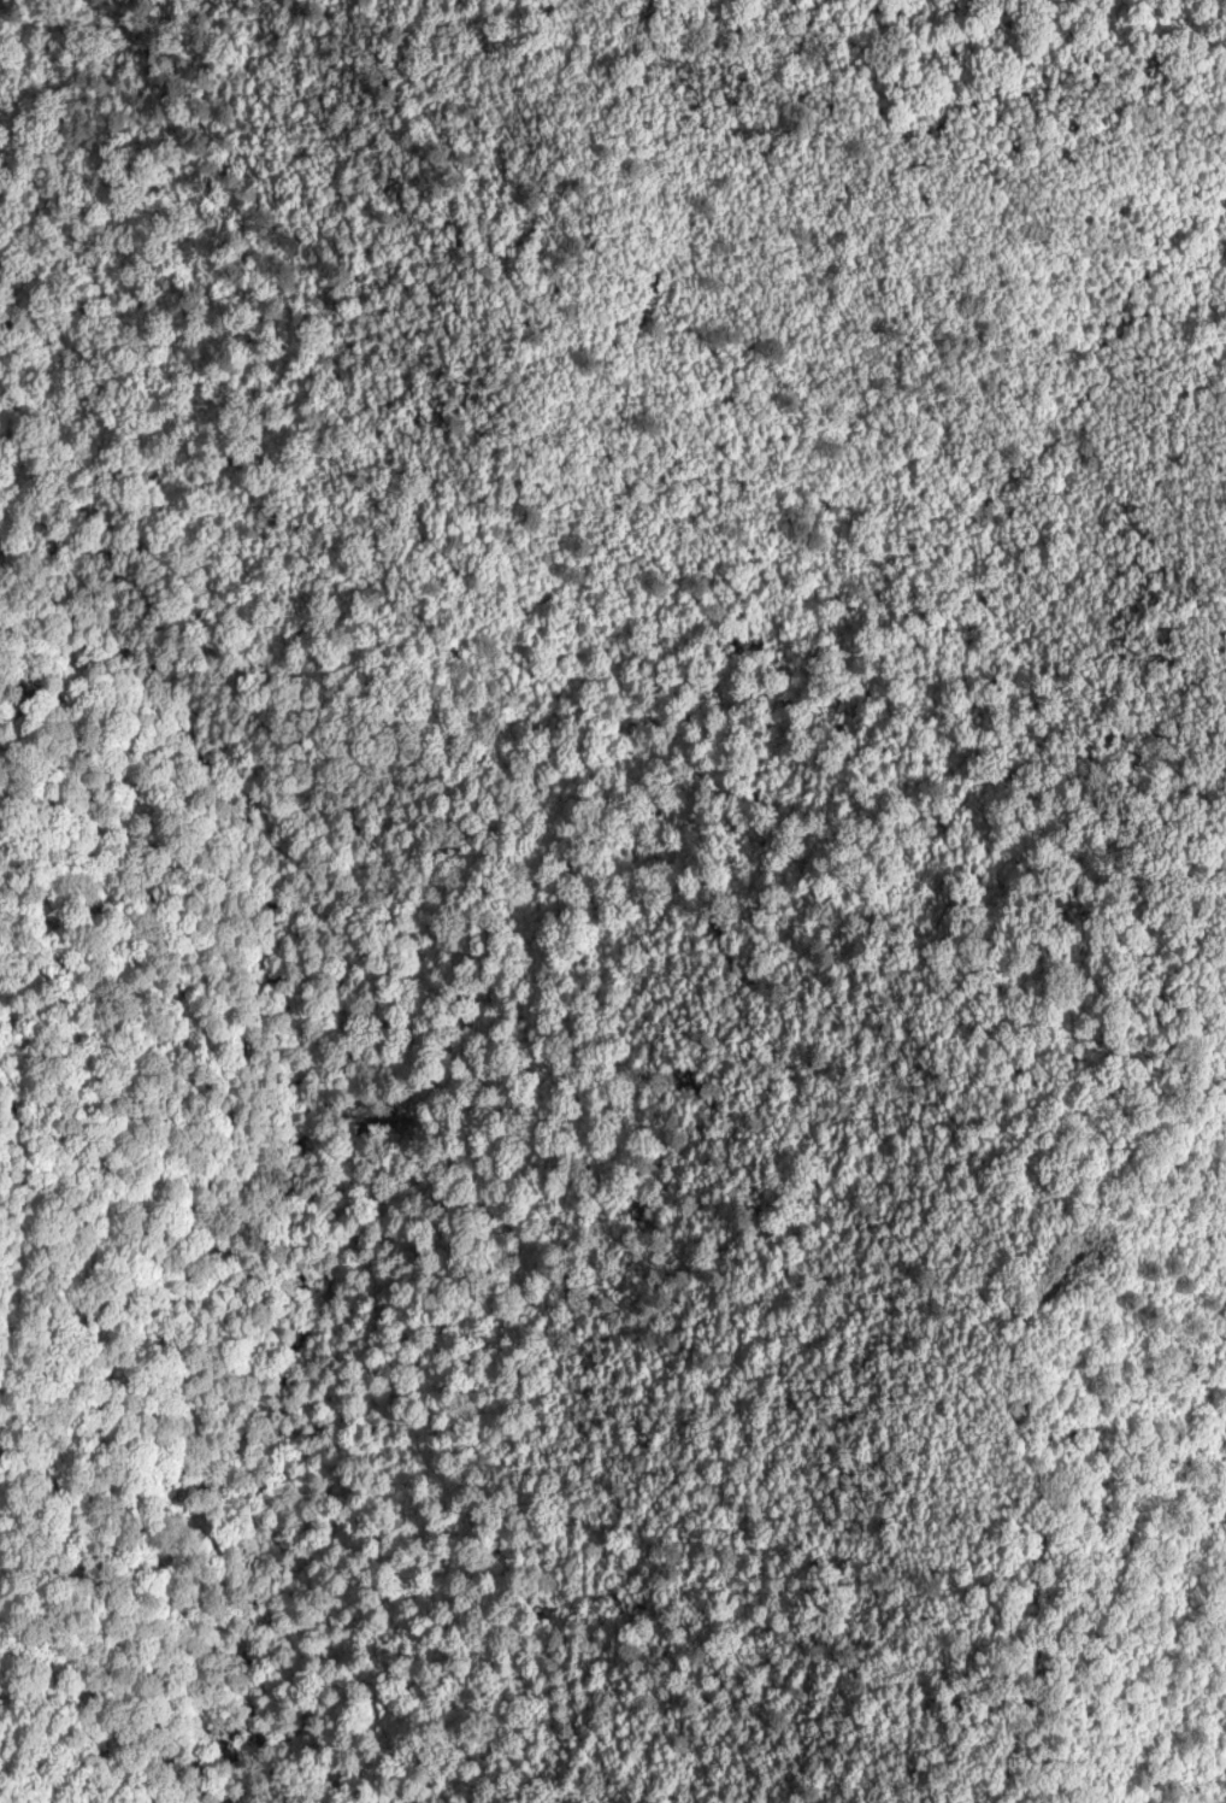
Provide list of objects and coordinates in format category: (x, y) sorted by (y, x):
road: (0, 1417)

